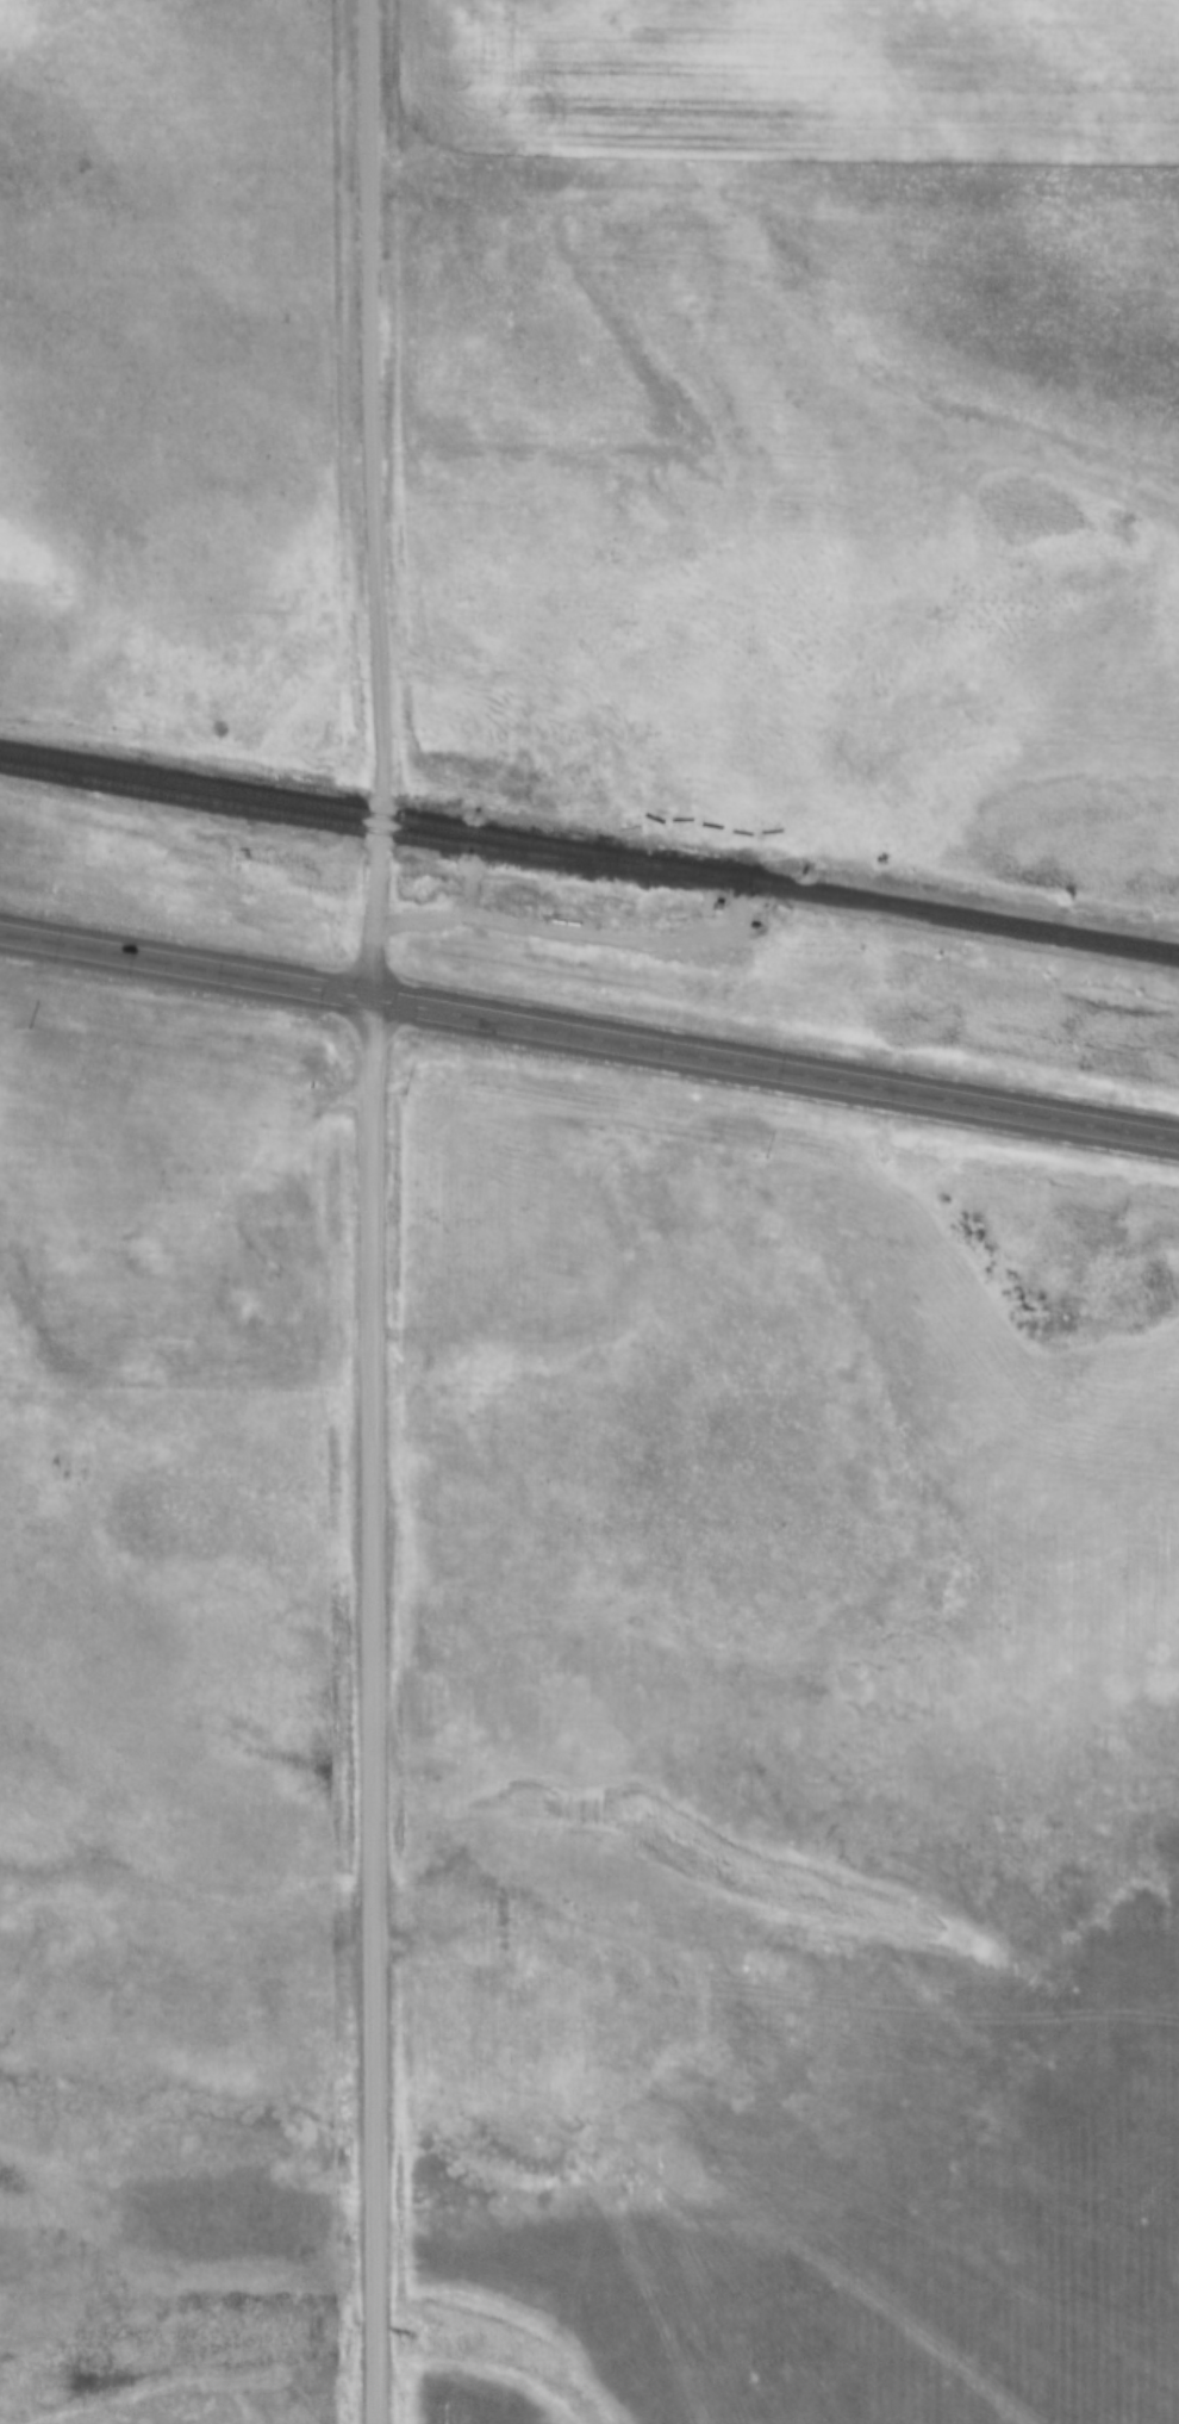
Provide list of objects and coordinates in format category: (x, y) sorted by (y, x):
railway: (372, 829)
railway: (589, 851)
road: (588, 1034)
road: (370, 1211)

